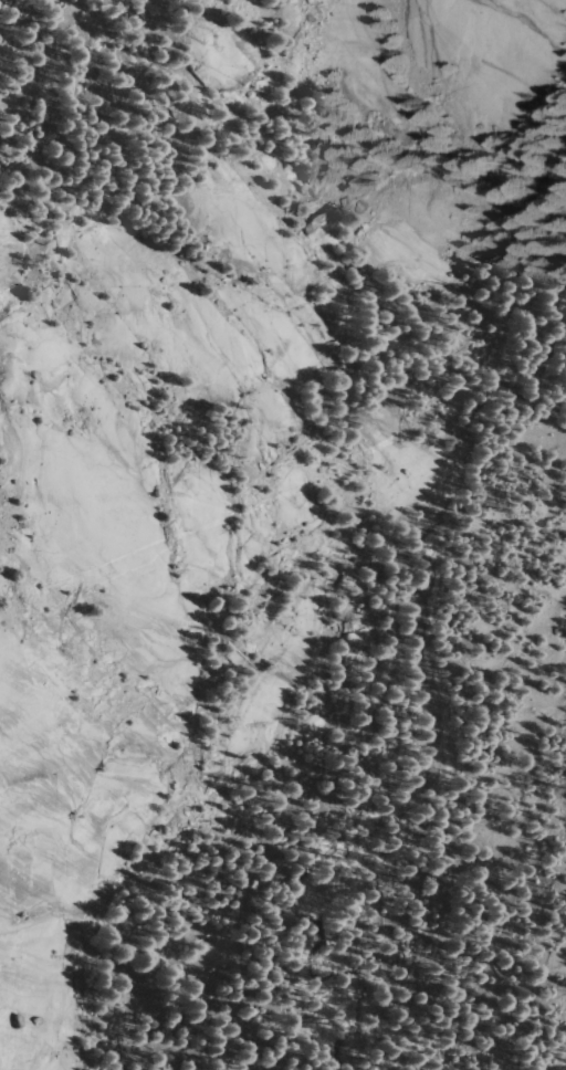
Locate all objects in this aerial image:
road: (389, 621)

